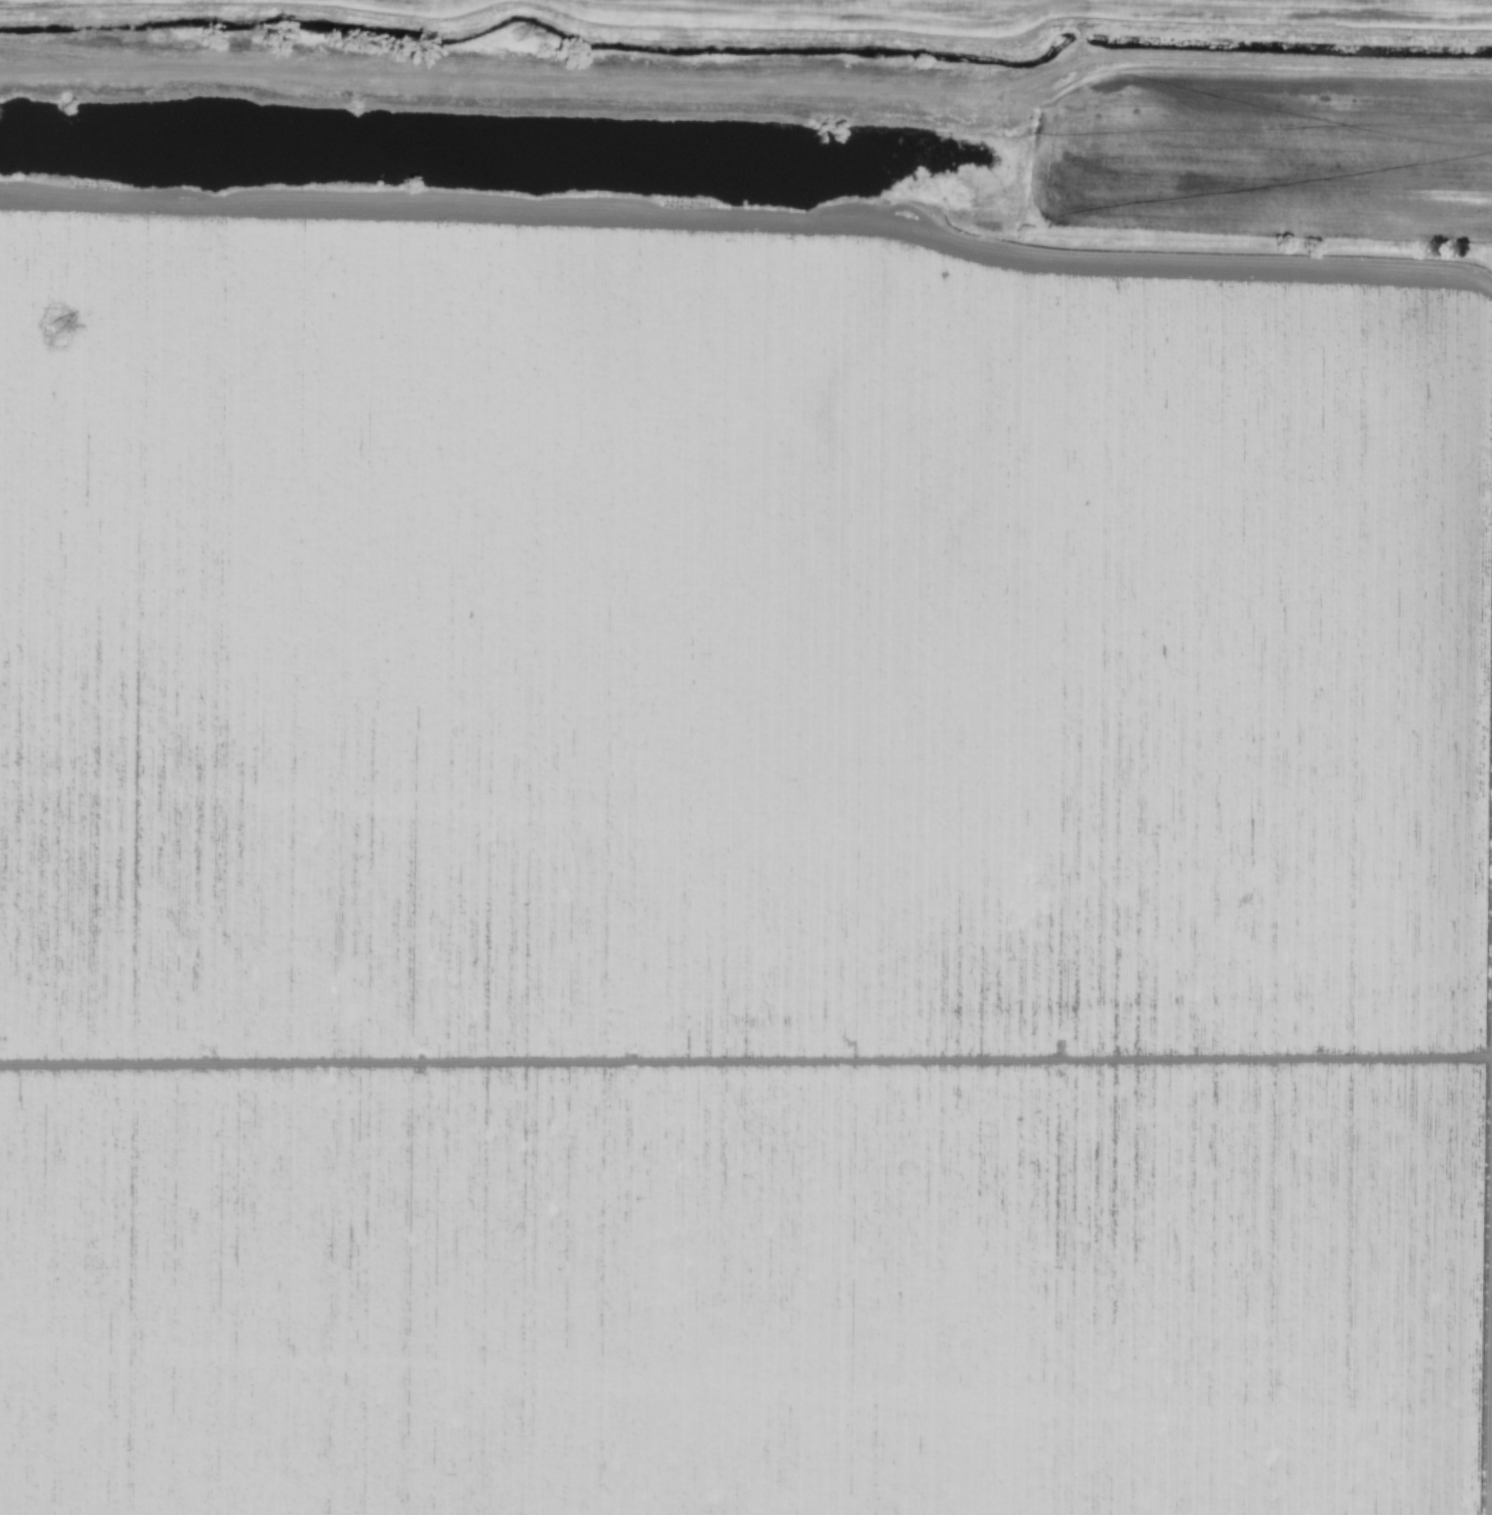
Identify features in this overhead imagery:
power tower: (523, 42)
power tower: (62, 332)

